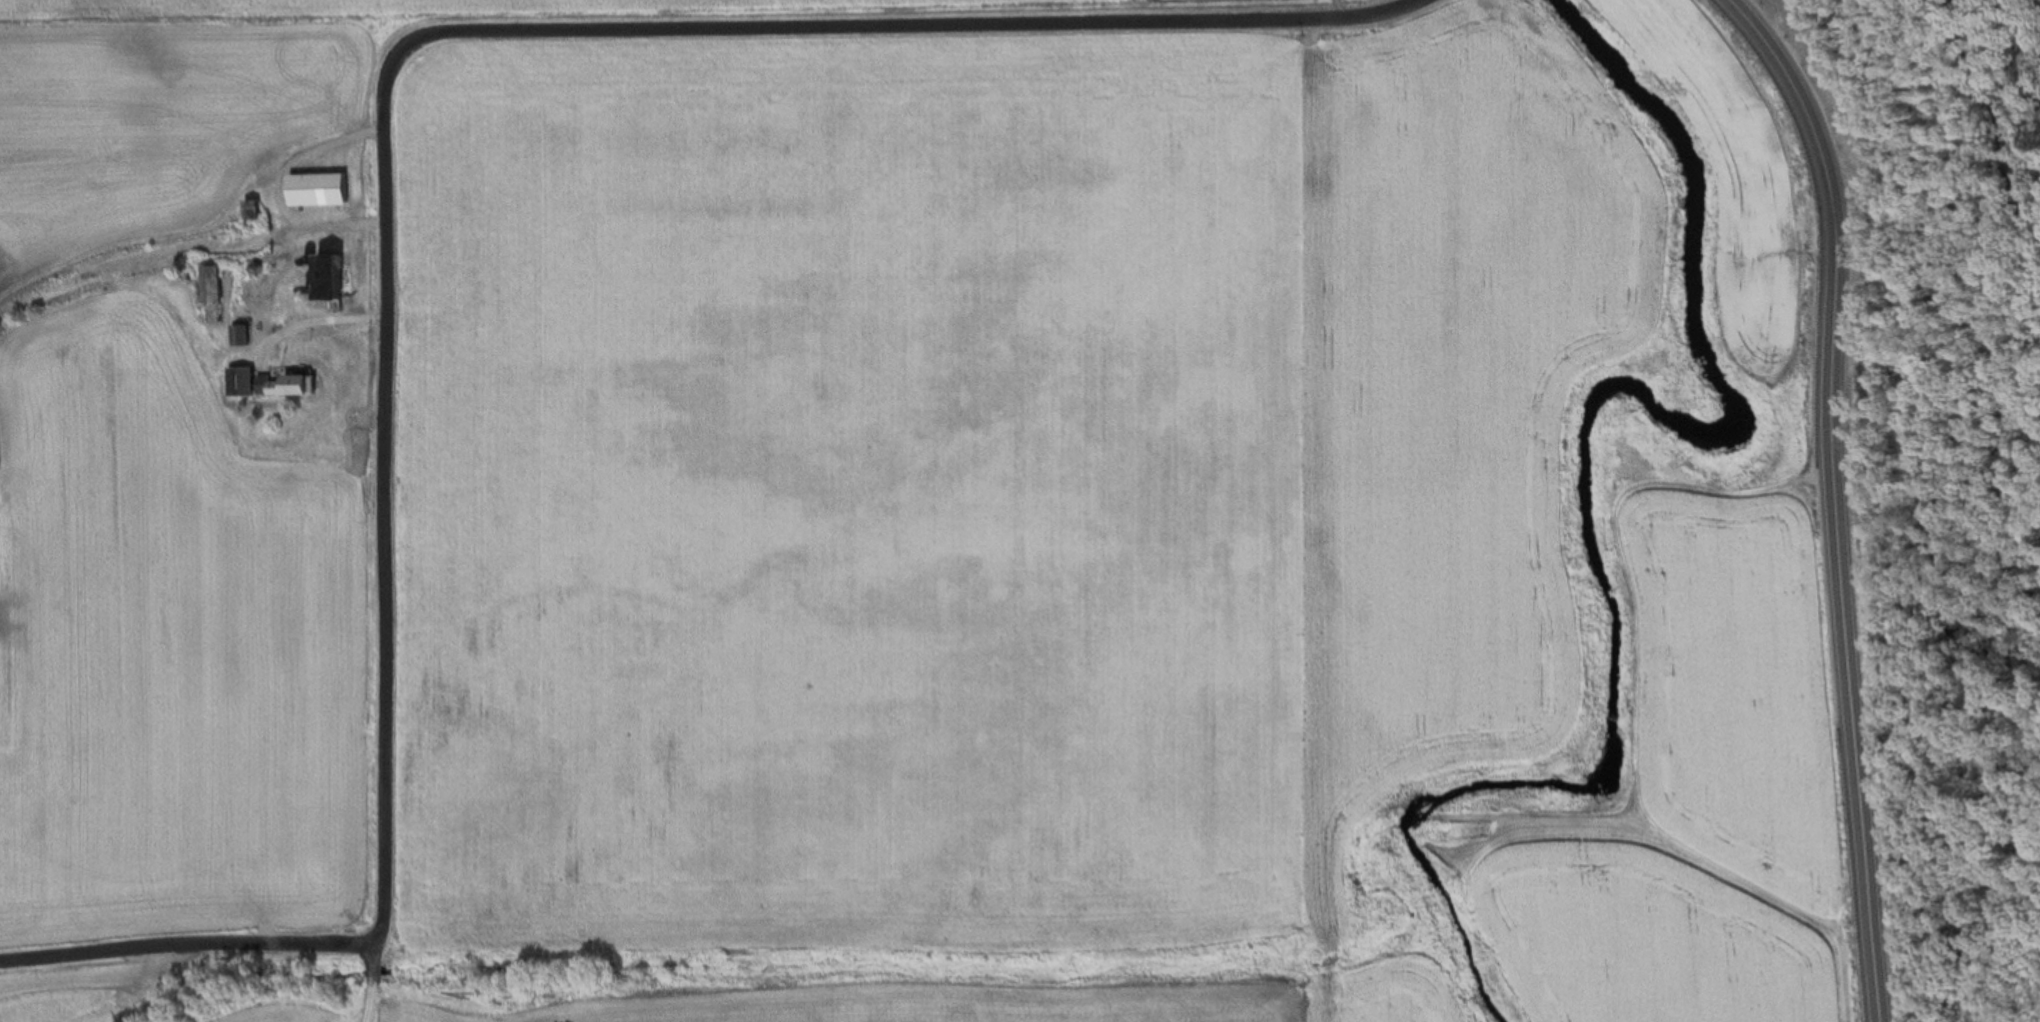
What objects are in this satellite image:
road: (385, 163)
building: (321, 187)
building: (254, 207)
building: (332, 273)
building: (213, 281)
road: (316, 324)
building: (241, 333)
building: (242, 379)
building: (289, 383)
road: (1834, 494)
road: (372, 952)
road: (370, 980)
road: (366, 1008)

